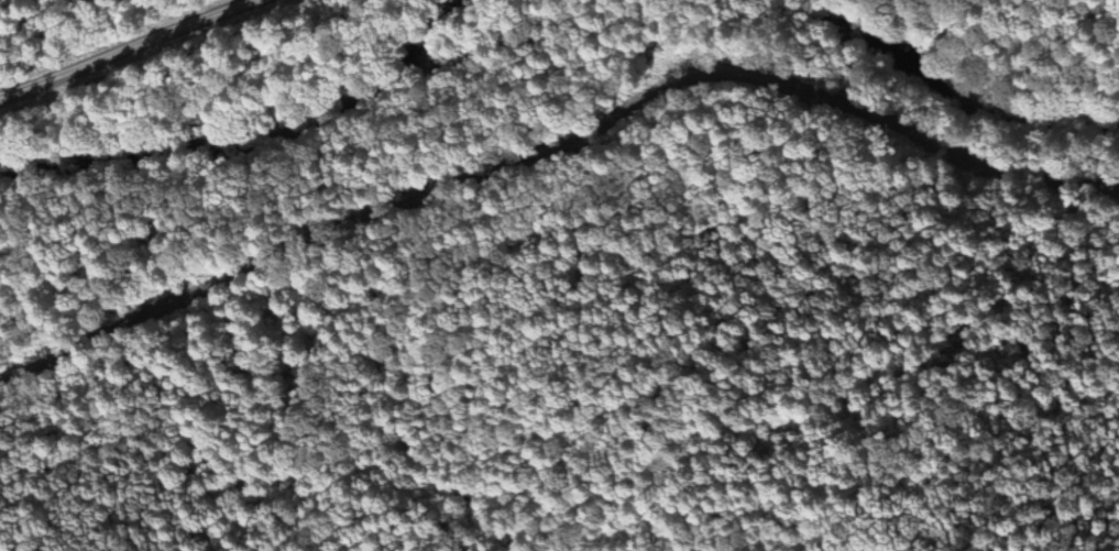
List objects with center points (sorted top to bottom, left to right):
road: (123, 47)

